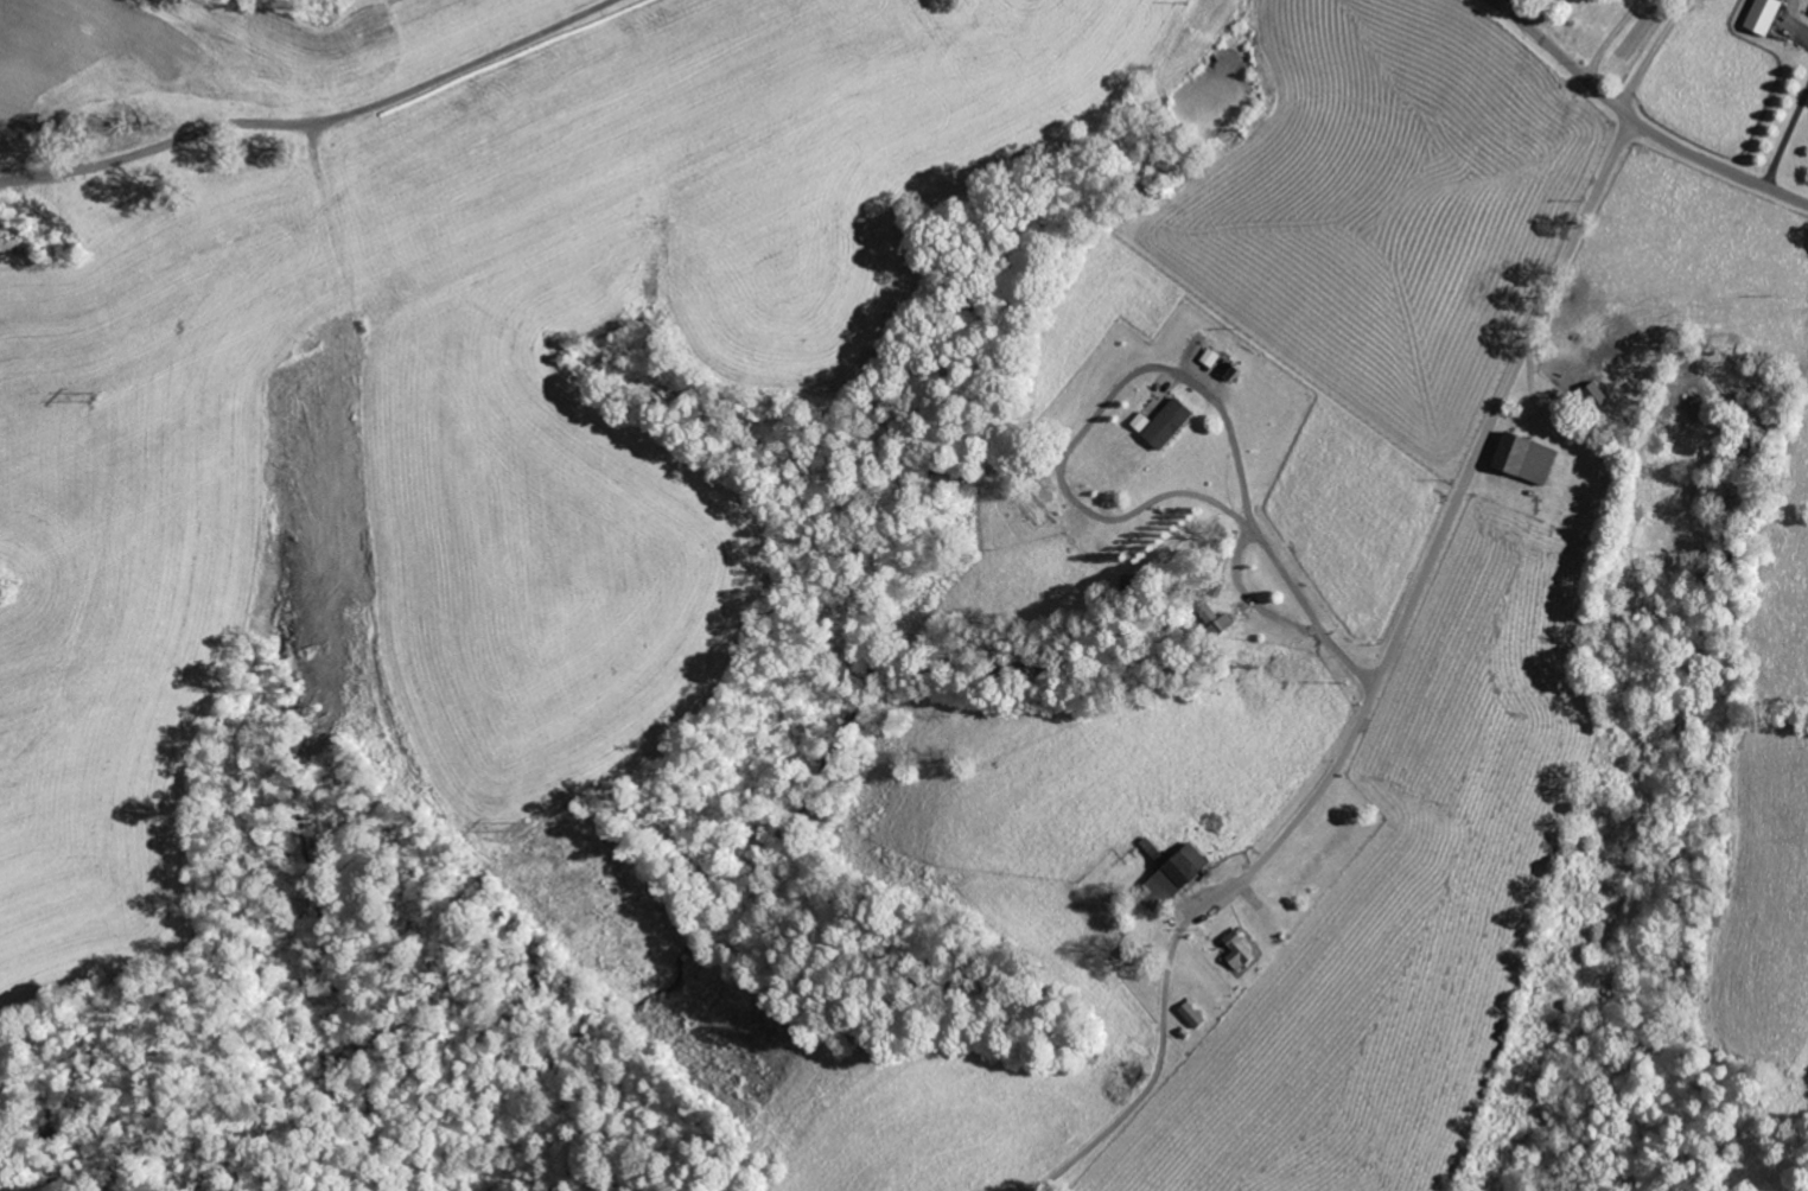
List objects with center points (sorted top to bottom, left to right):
building: (1766, 17)
road: (1635, 121)
power tower: (94, 395)
building: (1171, 423)
building: (1529, 458)
road: (1449, 517)
road: (1189, 569)
power tower: (517, 824)
building: (1178, 878)
building: (1243, 950)
building: (1193, 1017)

